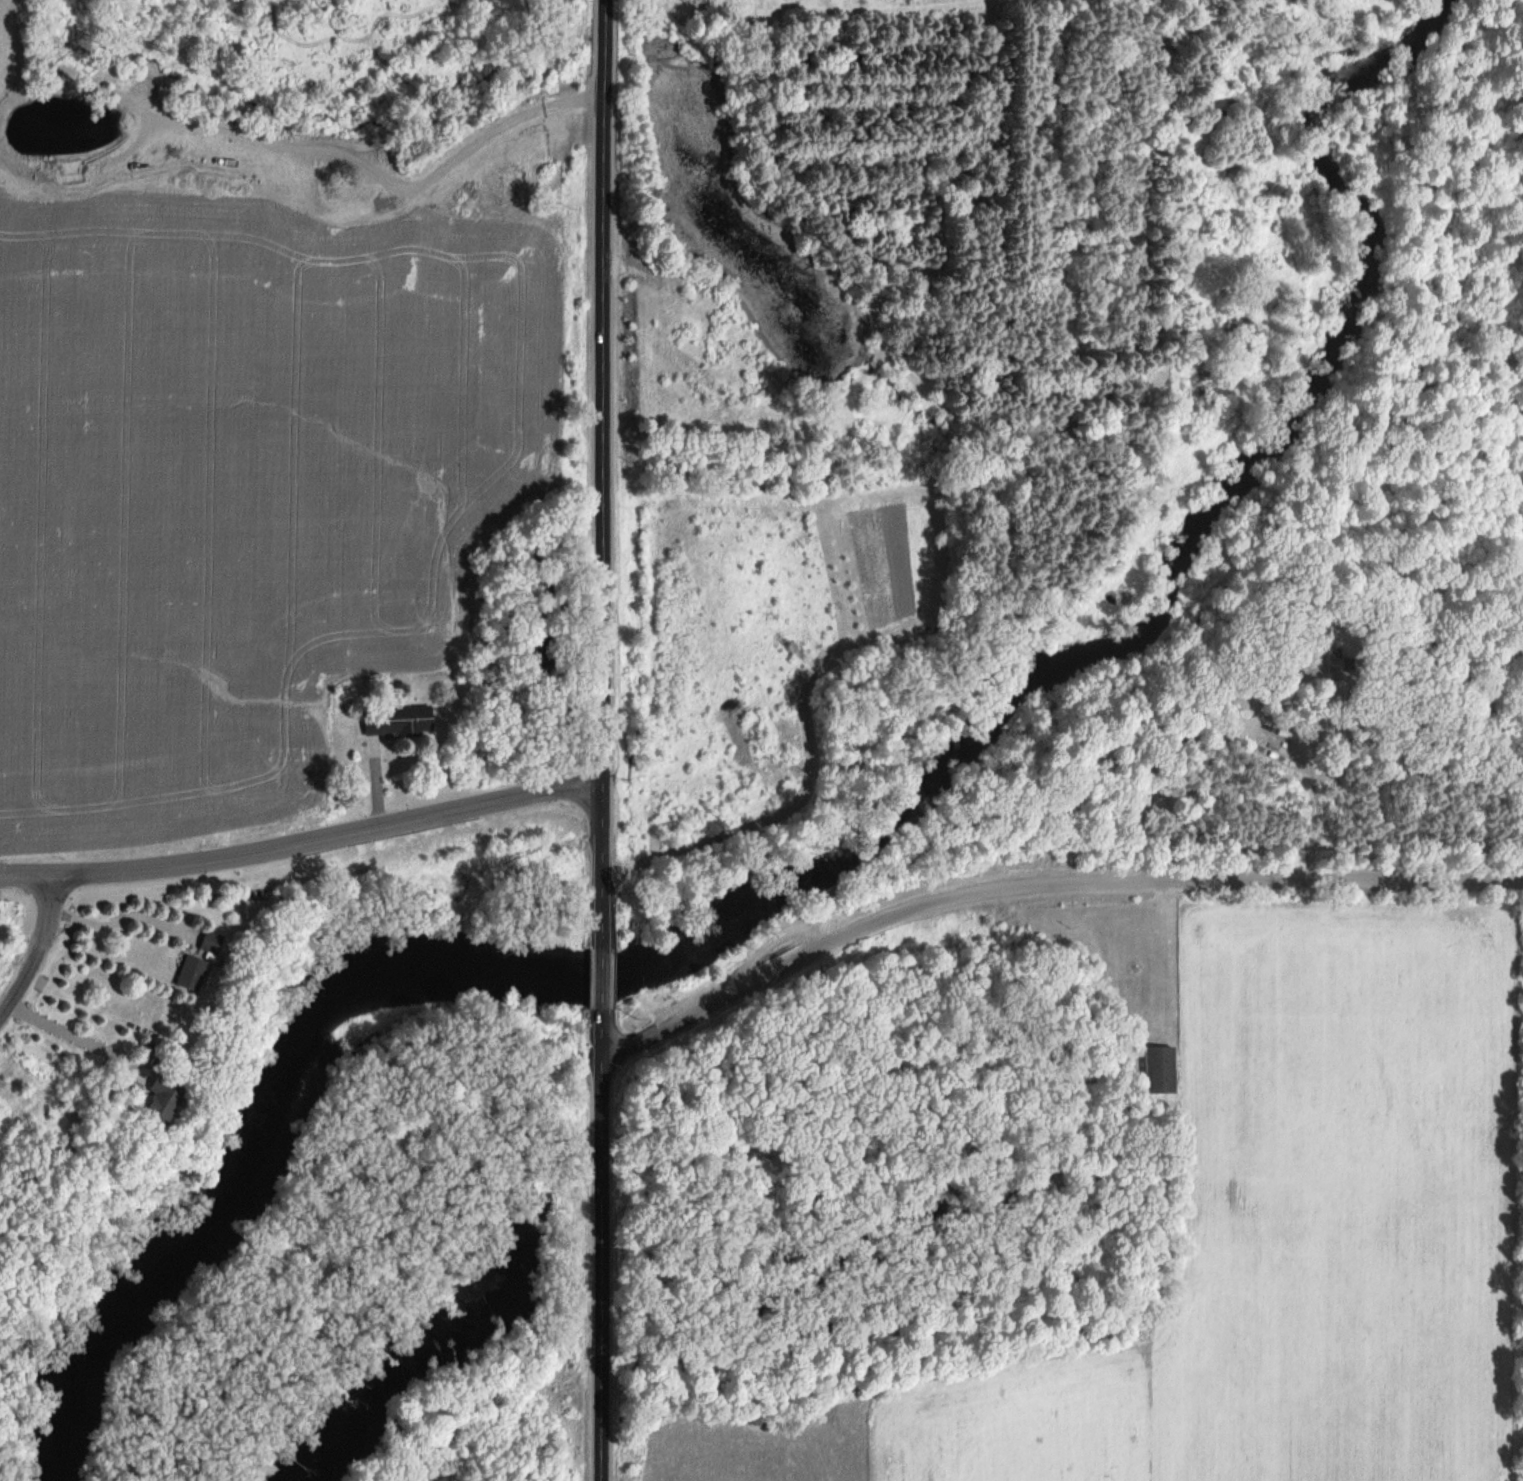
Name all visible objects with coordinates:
road: (603, 473)
building: (394, 722)
road: (328, 836)
road: (26, 877)
road: (1043, 884)
road: (118, 915)
building: (205, 941)
road: (38, 952)
building: (187, 973)
road: (601, 979)
road: (76, 1034)
building: (1157, 1070)
building: (154, 1099)
road: (601, 1245)

